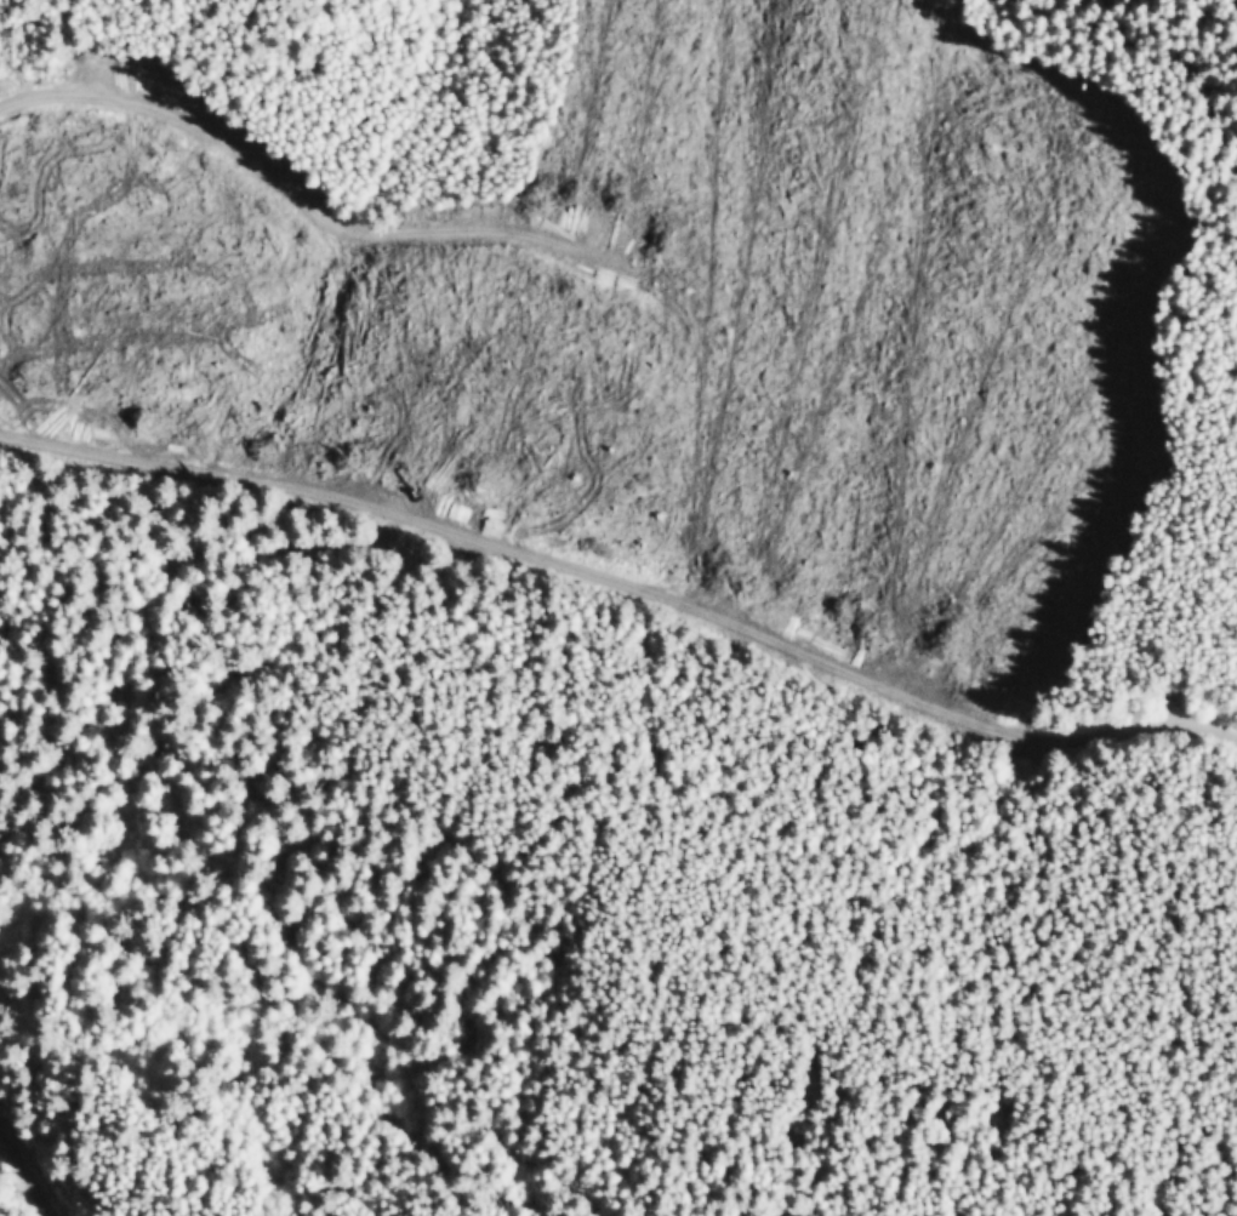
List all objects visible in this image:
road: (290, 188)
road: (625, 583)
road: (33, 1175)

